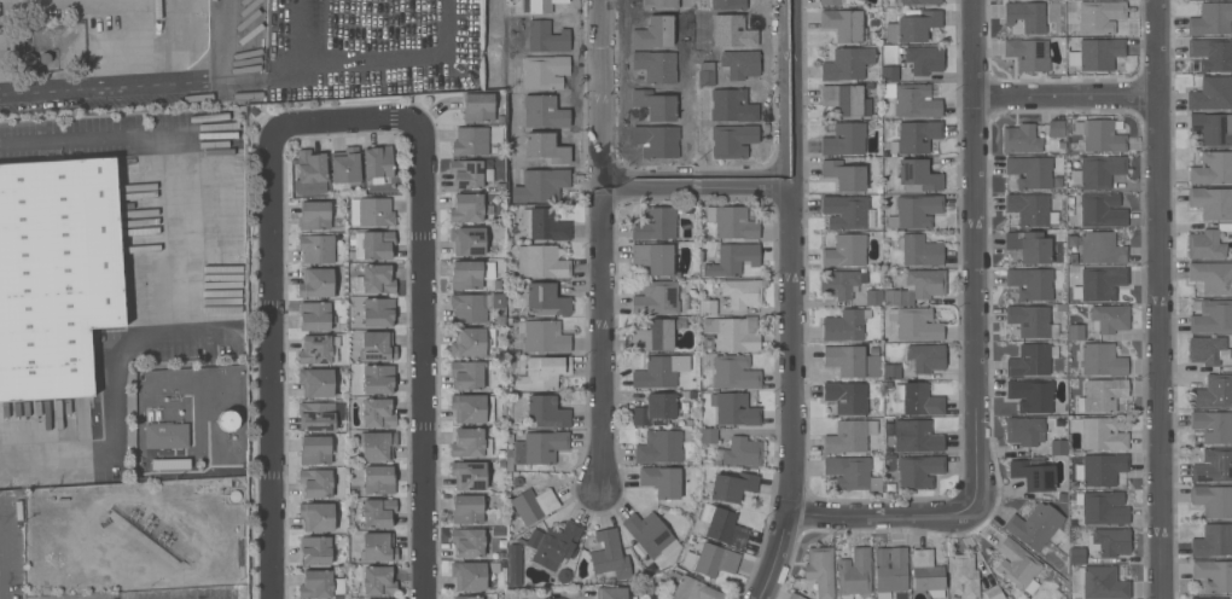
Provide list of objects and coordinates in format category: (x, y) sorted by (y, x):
road: (116, 1)
building: (920, 1)
building: (841, 2)
building: (725, 4)
building: (541, 5)
building: (659, 5)
building: (1025, 16)
building: (1099, 16)
building: (1210, 18)
building: (844, 24)
building: (912, 25)
building: (730, 29)
building: (653, 31)
building: (546, 36)
building: (1099, 52)
building: (1028, 53)
building: (1211, 53)
building: (924, 59)
building: (847, 63)
building: (655, 65)
building: (730, 65)
road: (351, 71)
building: (541, 71)
building: (889, 72)
road: (141, 85)
building: (1211, 93)
road: (1064, 94)
building: (845, 99)
building: (912, 99)
building: (655, 104)
building: (731, 104)
building: (478, 106)
building: (544, 111)
road: (343, 117)
building: (1056, 128)
building: (1211, 128)
building: (1100, 135)
building: (914, 136)
building: (844, 139)
building: (1021, 139)
building: (470, 140)
building: (731, 140)
building: (657, 141)
building: (546, 147)
building: (378, 161)
building: (310, 165)
building: (345, 165)
building: (1211, 168)
building: (1100, 170)
building: (1030, 171)
building: (469, 174)
building: (844, 174)
building: (918, 175)
road: (695, 179)
building: (540, 185)
building: (1211, 202)
building: (469, 208)
building: (1031, 209)
building: (1102, 210)
building: (374, 211)
building: (847, 211)
building: (914, 211)
building: (314, 215)
building: (732, 222)
road: (179, 223)
building: (655, 223)
building: (544, 225)
building: (467, 240)
building: (372, 244)
road: (602, 244)
building: (1205, 244)
building: (1028, 245)
building: (316, 248)
building: (1099, 248)
building: (918, 249)
building: (845, 251)
road: (972, 252)
building: (653, 257)
building: (732, 258)
building: (541, 261)
building: (56, 273)
building: (470, 274)
building: (1213, 277)
building: (377, 279)
building: (316, 283)
building: (841, 283)
building: (1030, 283)
building: (1099, 283)
building: (917, 286)
building: (742, 292)
building: (657, 297)
building: (873, 297)
building: (546, 298)
road: (1158, 299)
road: (790, 302)
building: (467, 307)
building: (708, 307)
building: (378, 312)
building: (314, 315)
building: (1211, 316)
building: (1109, 318)
building: (1029, 320)
building: (914, 324)
building: (845, 325)
building: (1075, 331)
building: (733, 332)
building: (656, 335)
building: (542, 336)
building: (471, 342)
building: (377, 345)
building: (315, 349)
building: (1207, 349)
building: (926, 356)
road: (422, 359)
building: (1031, 359)
building: (853, 360)
building: (1102, 360)
road: (271, 362)
building: (659, 371)
building: (891, 371)
building: (544, 372)
building: (734, 372)
building: (466, 374)
building: (378, 378)
building: (316, 382)
building: (1213, 391)
building: (1031, 395)
building: (1102, 395)
building: (847, 396)
building: (918, 399)
building: (469, 408)
building: (734, 408)
building: (656, 409)
building: (547, 412)
building: (377, 413)
building: (315, 415)
building: (227, 419)
storage tank: (227, 419)
building: (1213, 425)
building: (1024, 430)
building: (1099, 432)
building: (165, 435)
building: (708, 435)
building: (918, 435)
building: (849, 436)
building: (470, 443)
building: (377, 444)
building: (659, 446)
building: (180, 447)
building: (1058, 447)
building: (535, 448)
building: (315, 449)
building: (742, 452)
road: (57, 459)
building: (1213, 465)
building: (1100, 469)
building: (914, 472)
building: (852, 473)
building: (469, 475)
building: (1033, 475)
building: (378, 479)
building: (662, 481)
building: (316, 482)
building: (731, 487)
building: (1213, 500)
building: (531, 505)
building: (1102, 507)
building: (467, 508)
building: (378, 512)
road: (879, 513)
building: (316, 516)
building: (722, 525)
building: (1035, 525)
building: (650, 534)
building: (1213, 540)
building: (1109, 541)
building: (467, 542)
building: (554, 543)
building: (378, 546)
building: (315, 549)
building: (610, 554)
building: (1077, 556)
building: (710, 559)
building: (1017, 563)
building: (515, 565)
road: (1, 568)
building: (890, 569)
building: (820, 570)
building: (926, 572)
building: (854, 574)
building: (470, 575)
building: (1213, 575)
building: (963, 576)
building: (378, 580)
building: (1102, 582)
building: (315, 585)
building: (688, 587)
building: (993, 592)
building: (611, 593)
building: (795, 595)
building: (467, 597)
building: (1205, 598)

